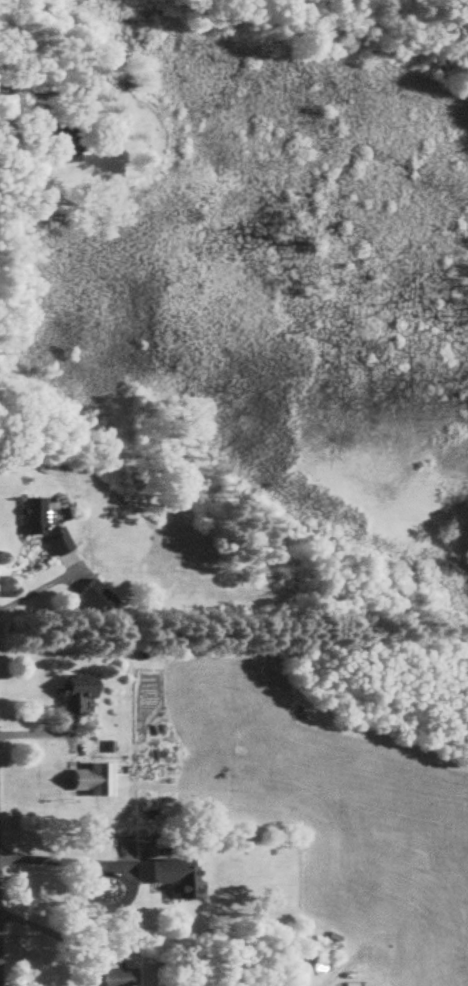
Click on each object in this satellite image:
building: (60, 139)
building: (30, 517)
building: (55, 542)
building: (72, 698)
building: (97, 780)
road: (63, 861)
building: (173, 879)
road: (88, 937)
building: (114, 977)

